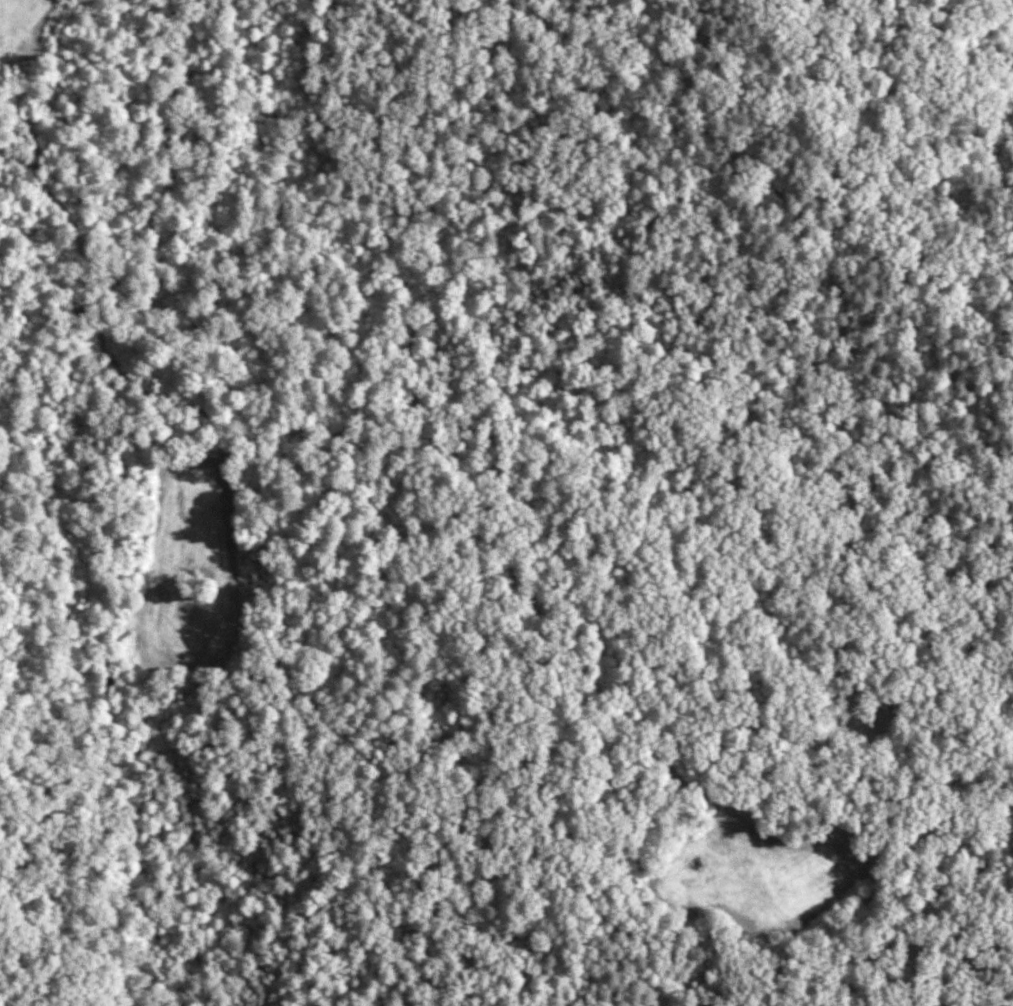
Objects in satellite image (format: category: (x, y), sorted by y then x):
building: (886, 723)
road: (897, 771)

